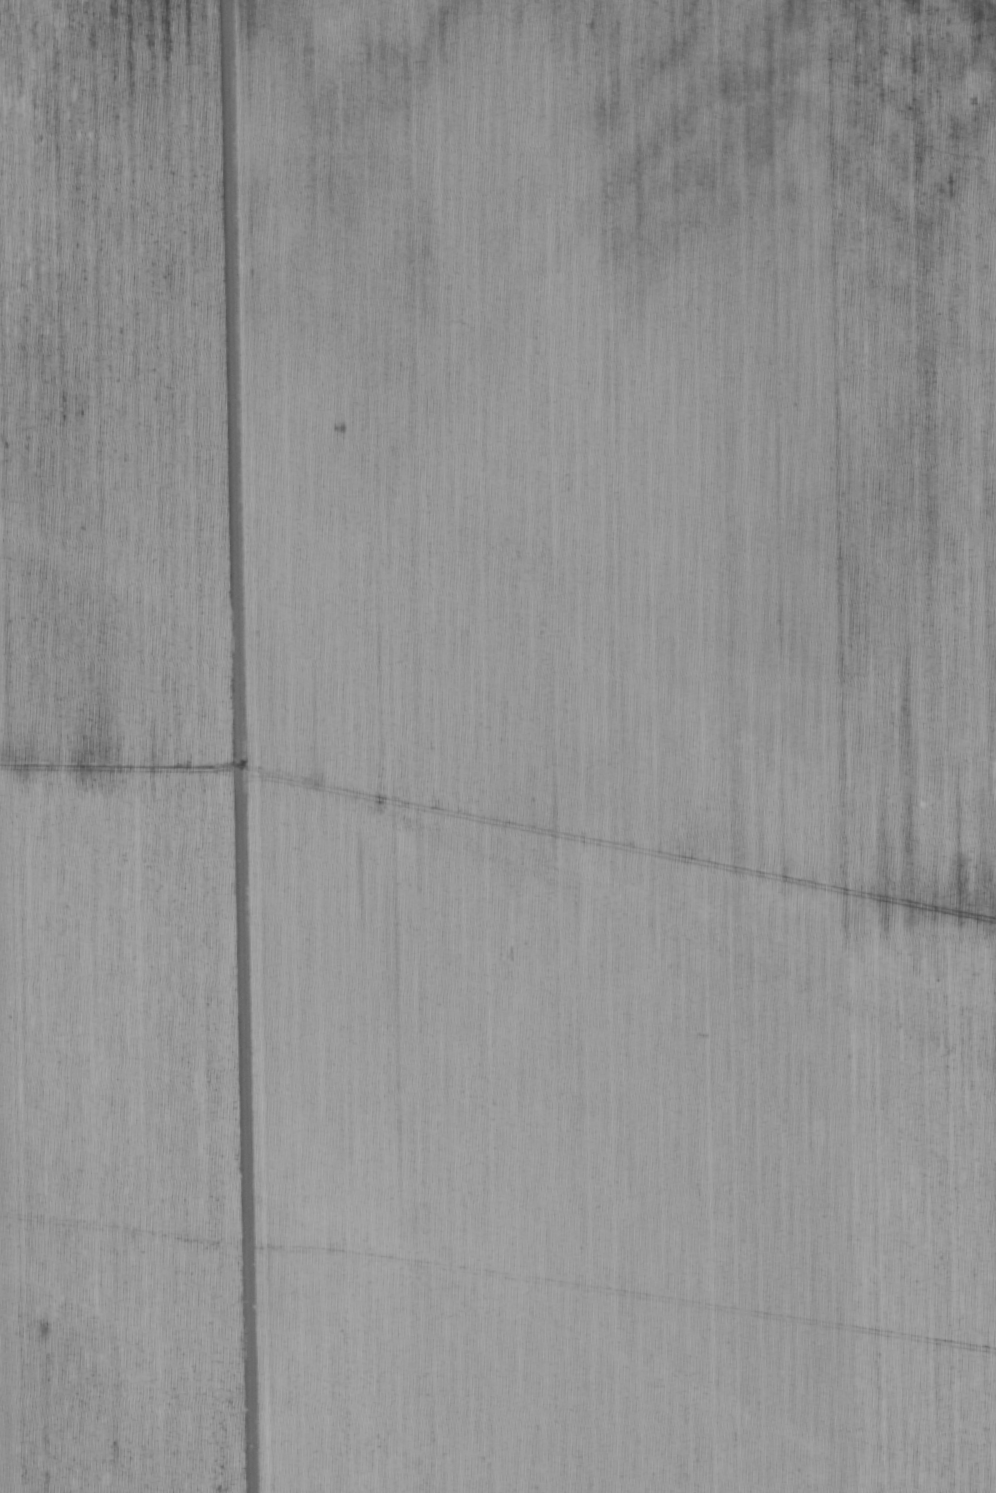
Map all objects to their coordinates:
crop: (498, 746)

